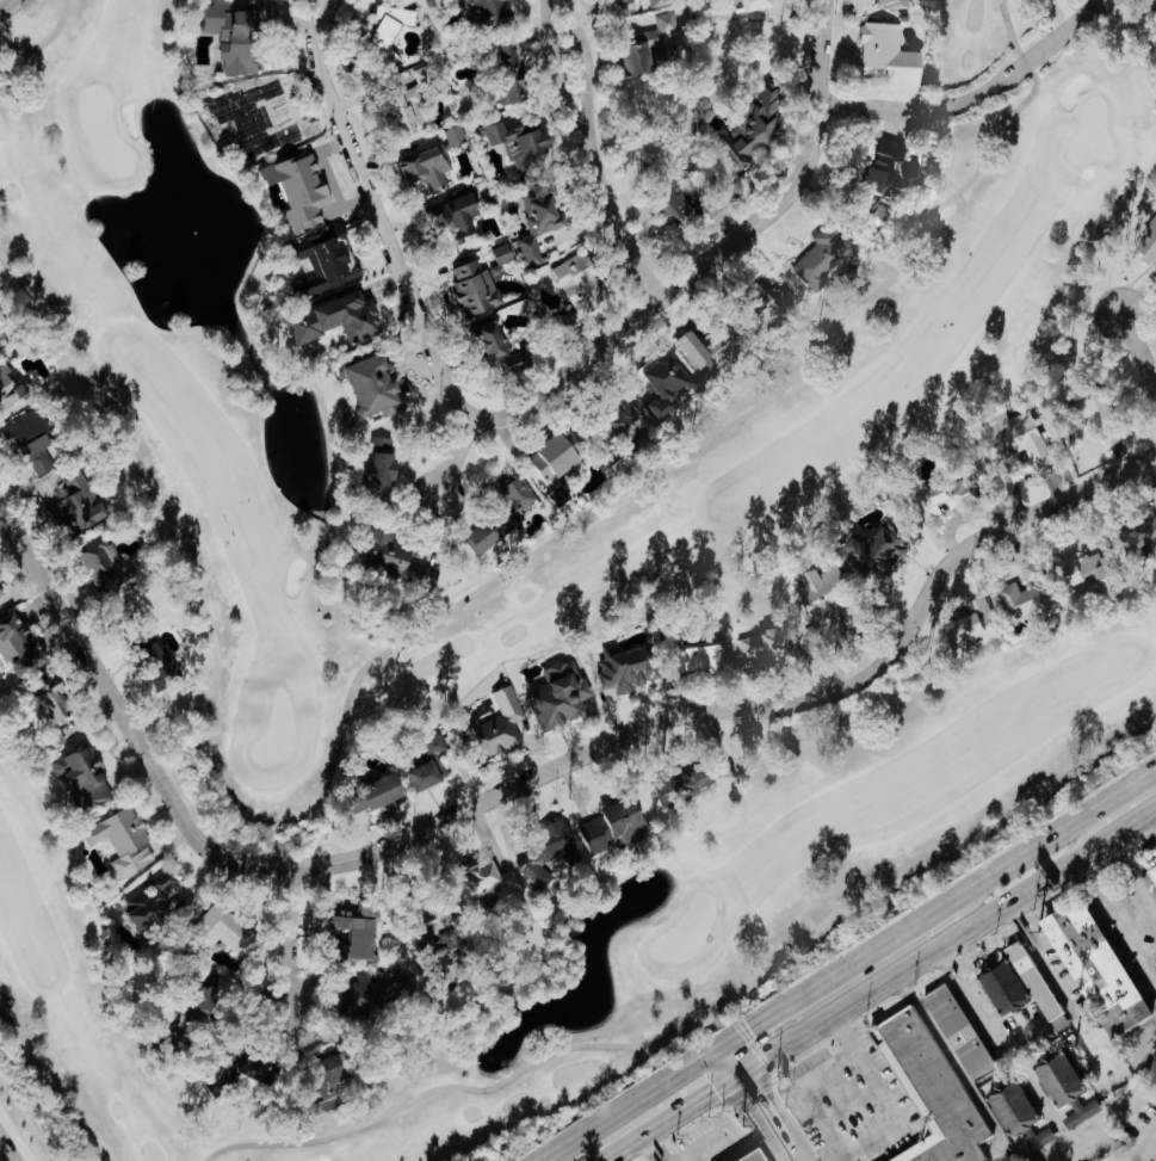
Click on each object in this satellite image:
building: (273, 0)
building: (617, 0)
building: (1033, 0)
building: (882, 4)
road: (6, 5)
building: (736, 5)
building: (477, 12)
building: (377, 36)
building: (224, 37)
building: (641, 47)
building: (882, 54)
building: (499, 55)
road: (826, 61)
building: (398, 117)
building: (247, 123)
road: (820, 134)
building: (450, 137)
building: (736, 140)
building: (512, 142)
road: (605, 152)
building: (419, 169)
building: (870, 181)
building: (290, 192)
building: (656, 203)
building: (450, 218)
building: (527, 227)
building: (1144, 242)
building: (496, 255)
building: (816, 258)
building: (322, 264)
road: (407, 265)
building: (571, 286)
building: (469, 290)
building: (357, 295)
building: (750, 309)
building: (1, 319)
building: (339, 319)
road: (1138, 345)
building: (488, 351)
building: (699, 352)
building: (656, 385)
building: (10, 388)
building: (366, 389)
building: (1090, 416)
building: (608, 422)
park: (810, 424)
building: (33, 438)
building: (540, 461)
road: (459, 464)
building: (367, 473)
building: (935, 498)
building: (78, 505)
building: (496, 514)
building: (1138, 532)
building: (389, 561)
building: (111, 566)
building: (1082, 567)
building: (0, 593)
building: (816, 595)
building: (1024, 597)
building: (968, 629)
building: (20, 644)
building: (760, 646)
building: (147, 654)
building: (692, 657)
building: (613, 672)
building: (550, 696)
building: (50, 698)
road: (759, 708)
road: (124, 715)
building: (490, 728)
building: (427, 745)
building: (418, 774)
building: (84, 777)
building: (675, 784)
building: (363, 797)
road: (1111, 816)
building: (602, 827)
road: (1051, 834)
building: (123, 841)
building: (537, 853)
road: (1127, 860)
building: (1151, 875)
road: (1099, 877)
building: (477, 882)
road: (1149, 896)
building: (150, 902)
park: (623, 906)
building: (230, 931)
building: (345, 937)
road: (1135, 937)
road: (296, 943)
building: (415, 944)
road: (944, 944)
building: (1098, 967)
road: (829, 975)
building: (1034, 980)
road: (1053, 980)
road: (971, 983)
building: (997, 988)
building: (205, 998)
building: (344, 998)
traffic signals: (749, 1027)
building: (954, 1032)
building: (880, 1052)
road: (956, 1067)
road: (827, 1069)
building: (322, 1077)
building: (230, 1079)
traffic signals: (713, 1087)
building: (1059, 1088)
building: (931, 1092)
traffic signals: (766, 1093)
road: (768, 1099)
road: (625, 1105)
road: (747, 1105)
building: (1013, 1116)
road: (666, 1119)
road: (888, 1129)
road: (723, 1132)
road: (11, 1142)
road: (1148, 1145)
road: (655, 1147)
road: (8, 1155)
building: (743, 1156)

